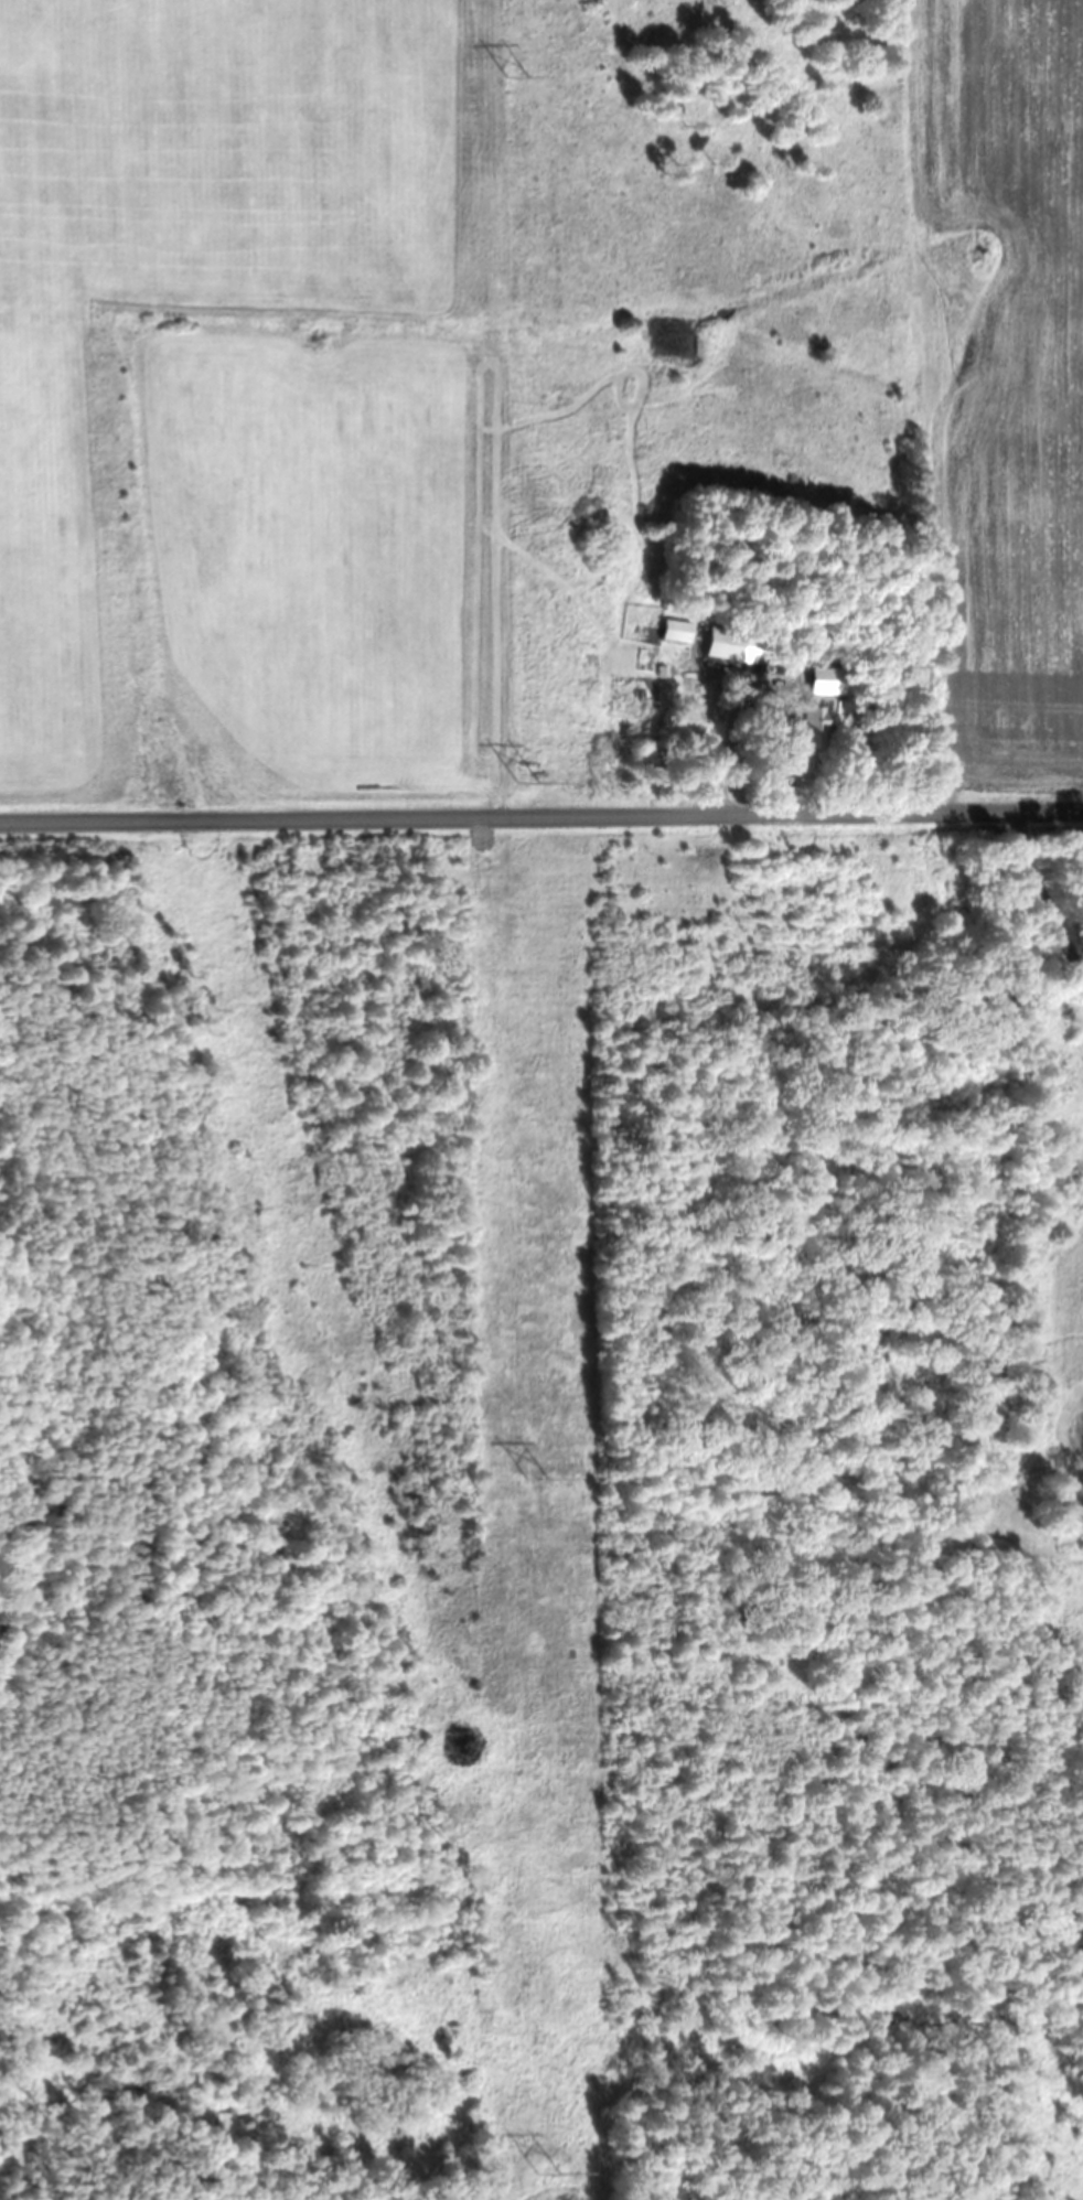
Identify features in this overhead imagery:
power tower: (517, 76)
building: (674, 631)
building: (722, 646)
building: (811, 717)
power tower: (526, 783)
road: (540, 816)
road: (1054, 894)
power tower: (535, 1479)
power tower: (544, 2174)

